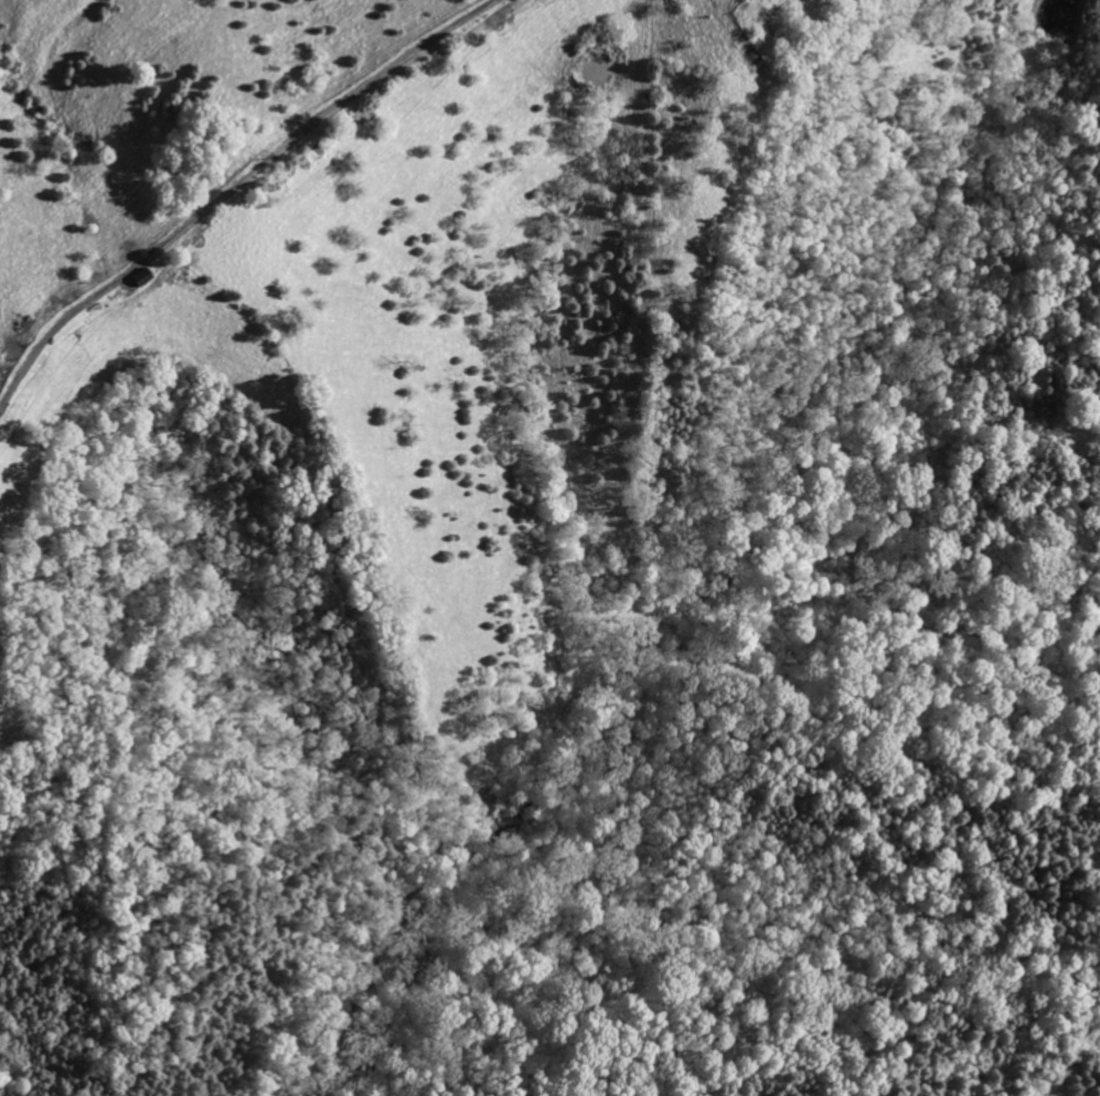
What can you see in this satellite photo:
road: (232, 189)

